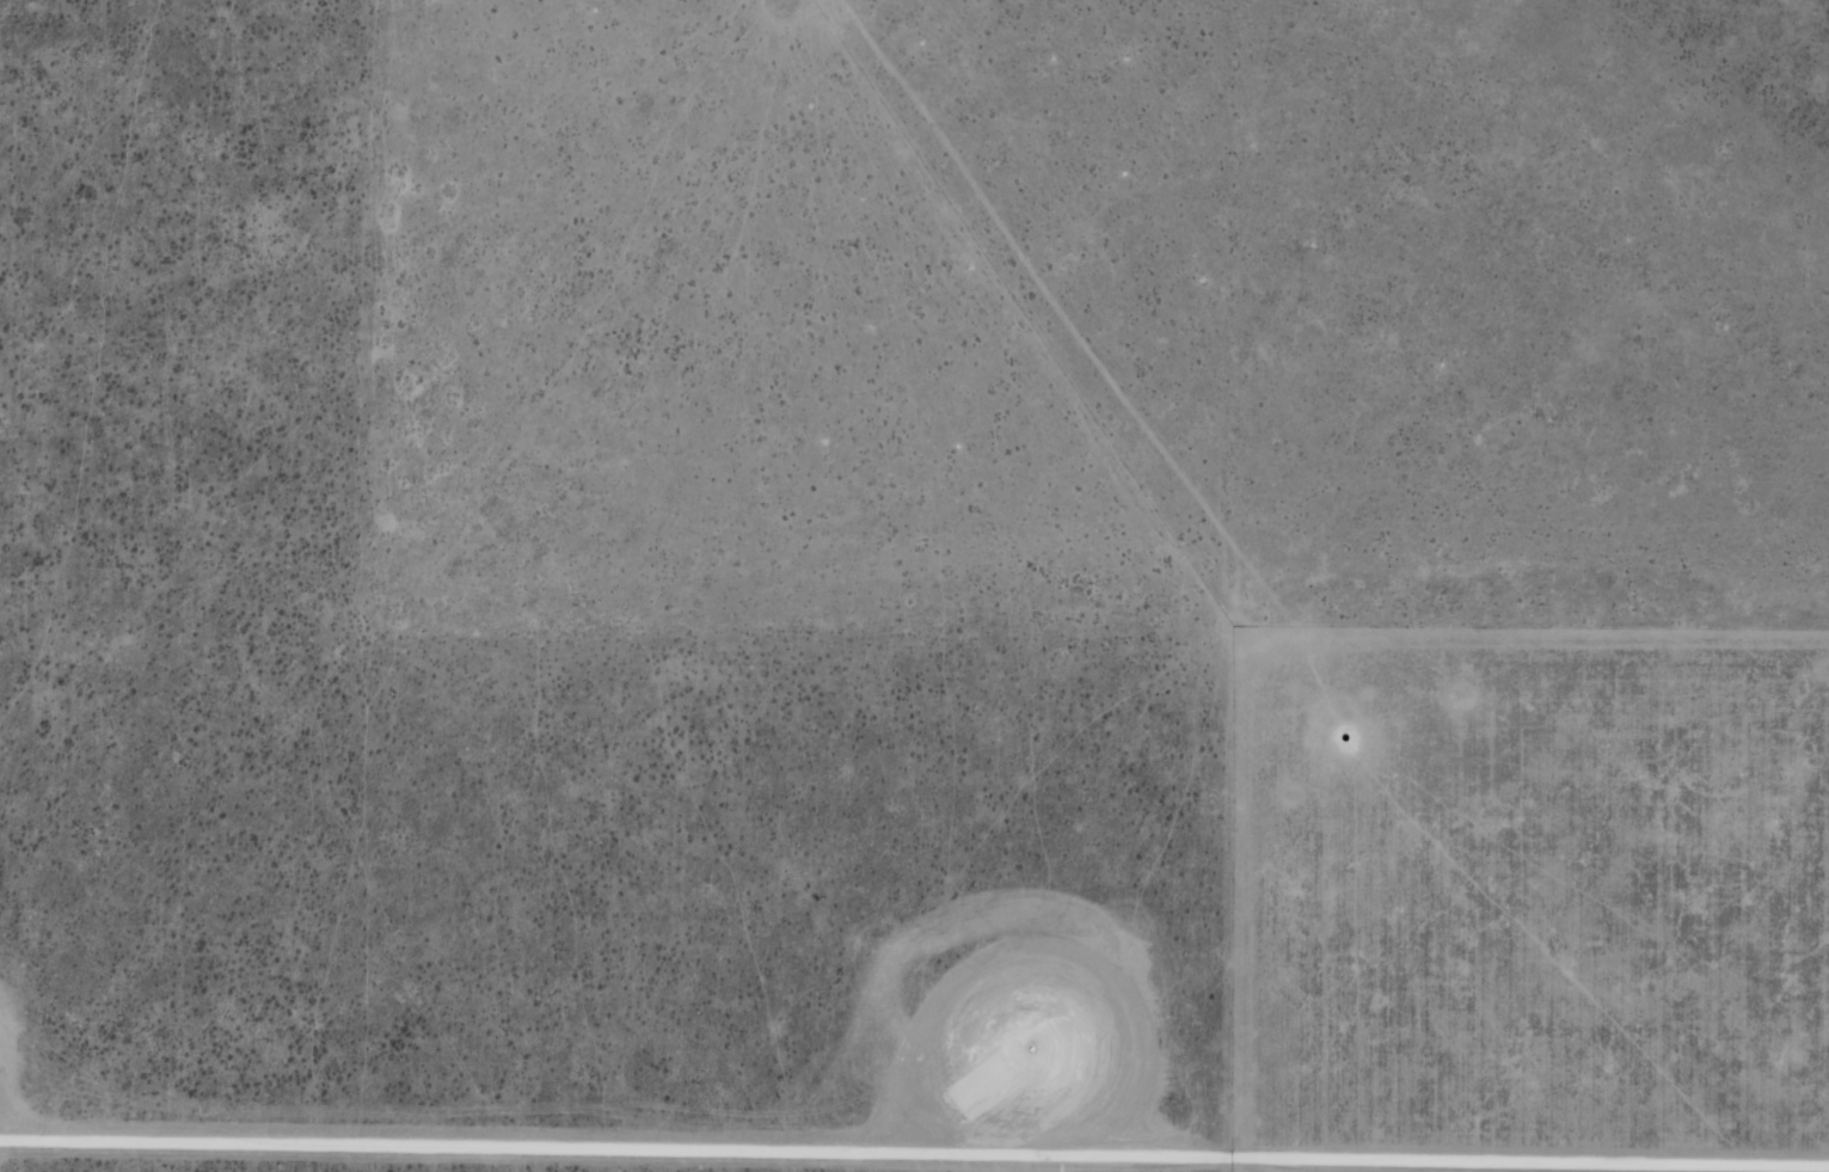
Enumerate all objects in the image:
wind turbine: (1002, 1080)

